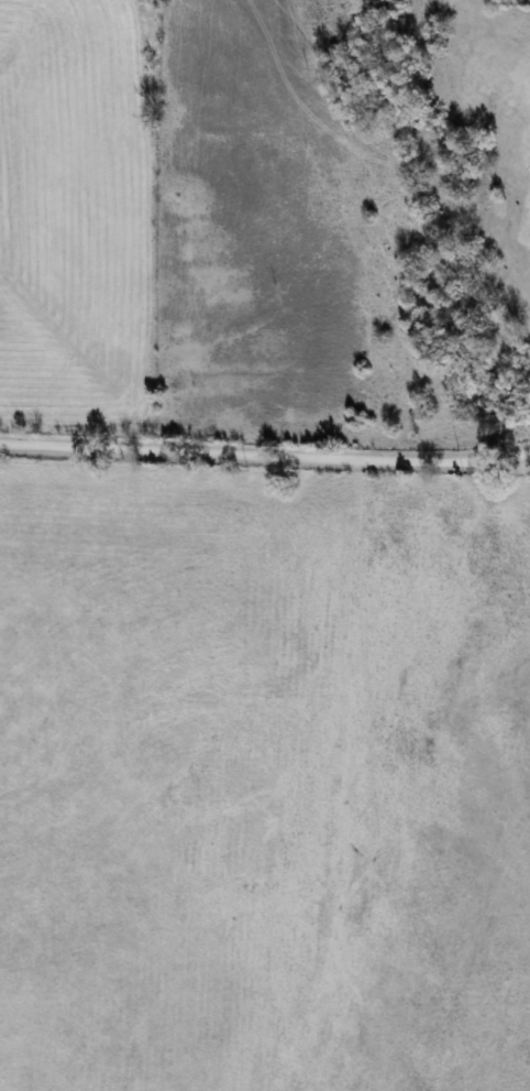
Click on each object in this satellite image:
road: (520, 454)
road: (255, 455)

